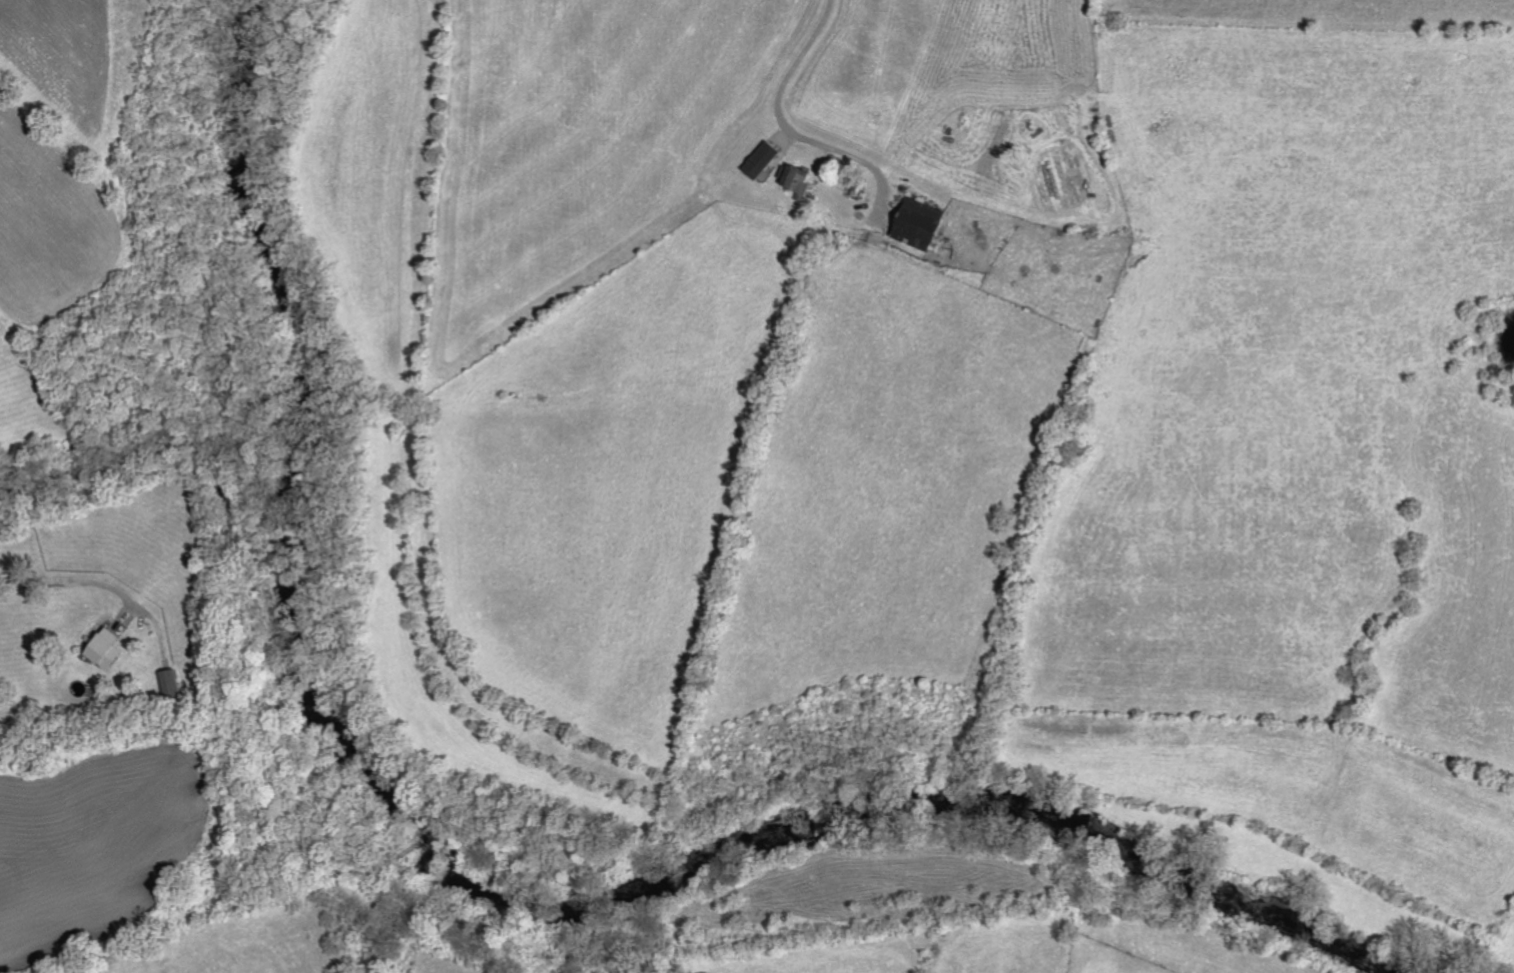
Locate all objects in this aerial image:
road: (776, 118)
building: (761, 160)
building: (795, 180)
building: (918, 224)
road: (69, 580)
building: (108, 648)
building: (175, 682)

